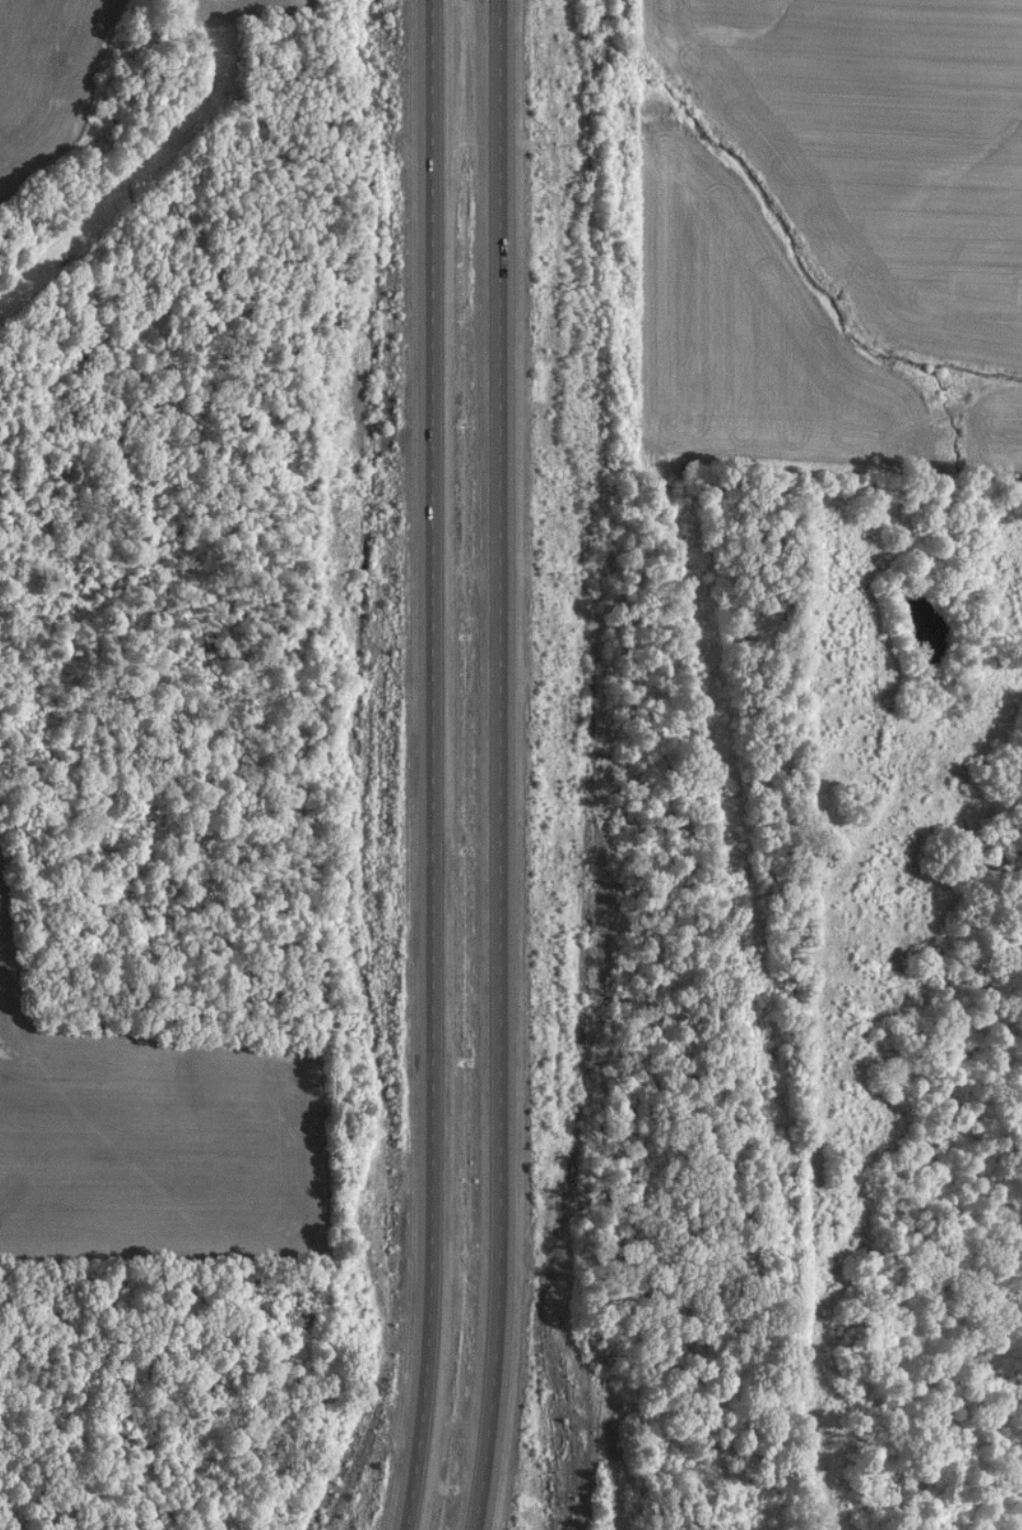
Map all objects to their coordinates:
road: (427, 765)
road: (495, 765)

